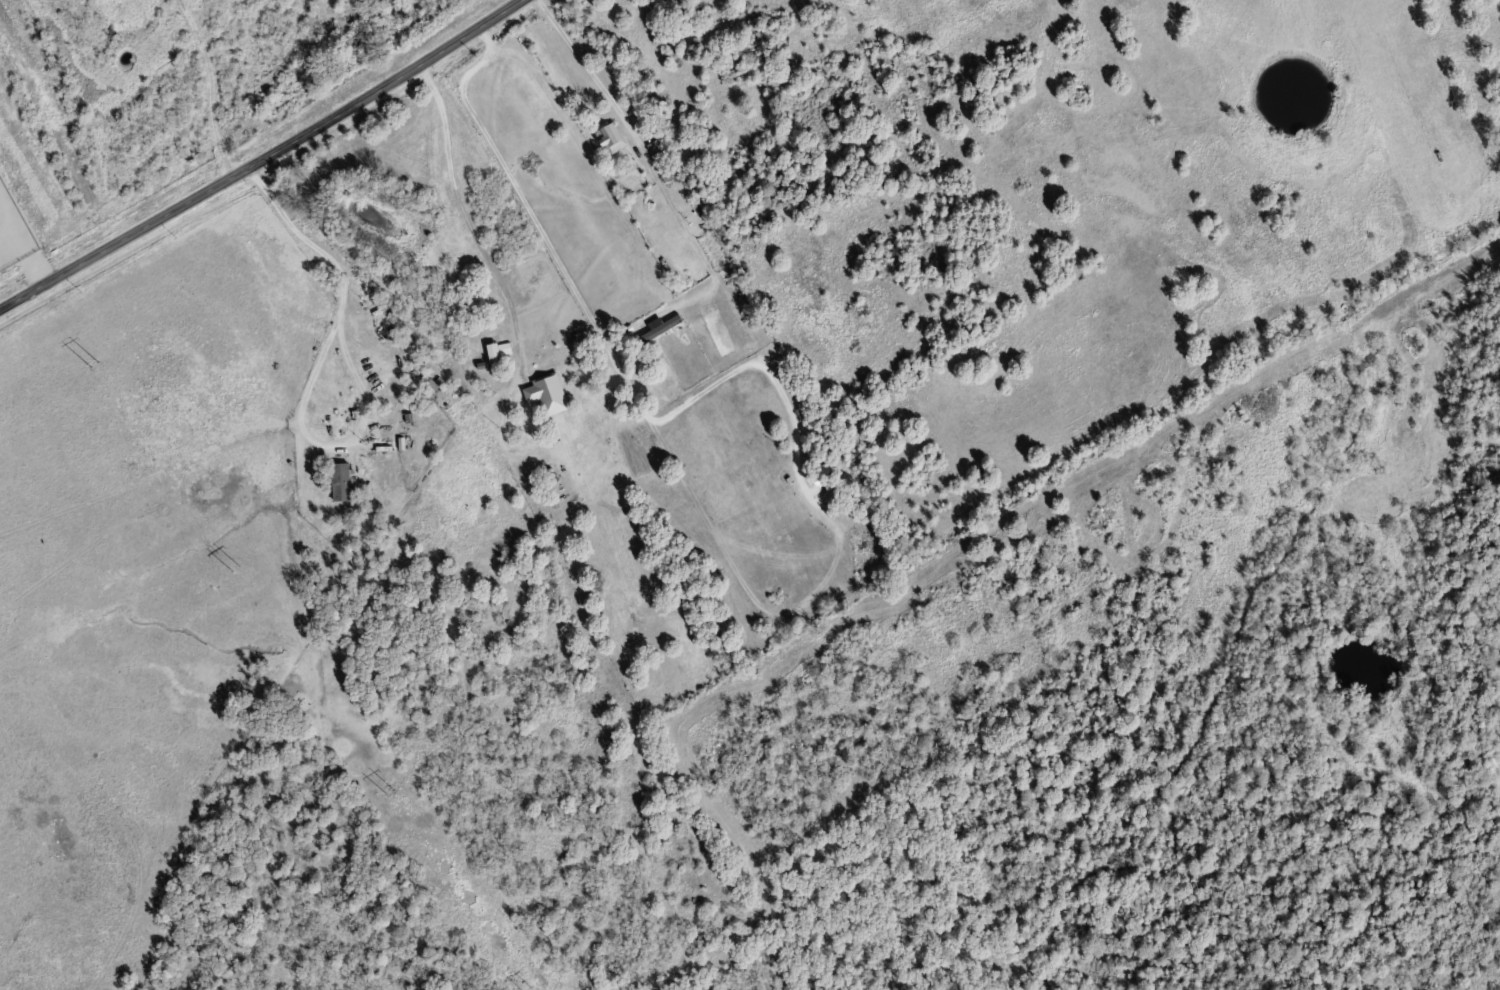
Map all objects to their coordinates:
road: (598, 81)
building: (613, 138)
road: (263, 161)
road: (479, 239)
road: (601, 334)
road: (314, 370)
building: (549, 392)
building: (342, 480)

